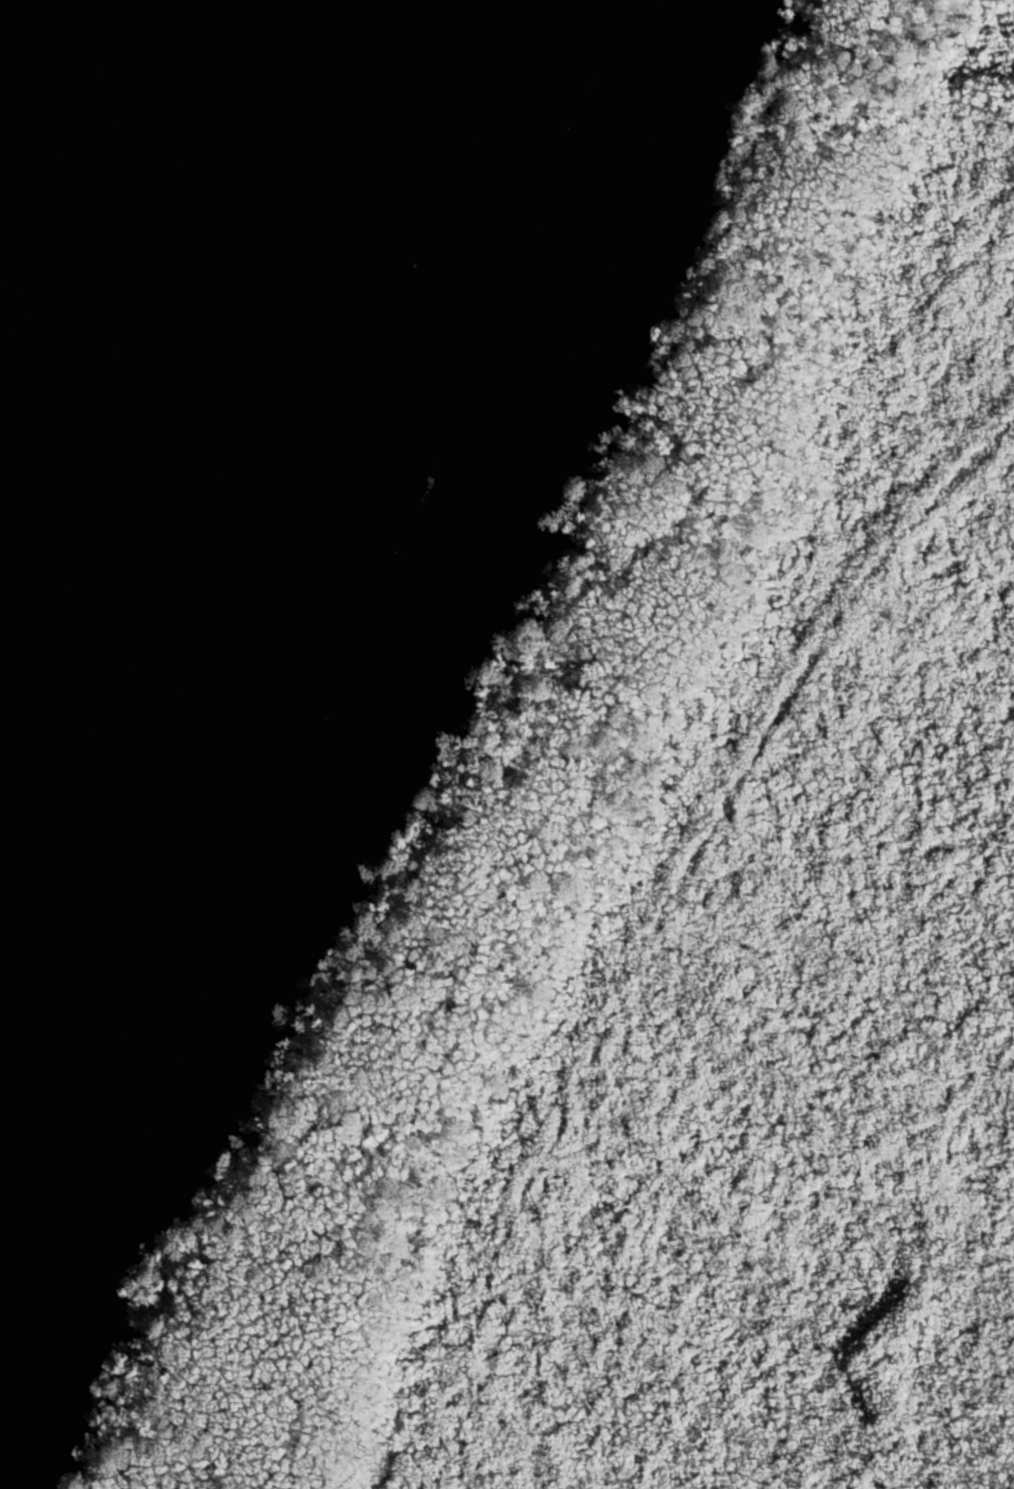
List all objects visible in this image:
river: (178, 452)

